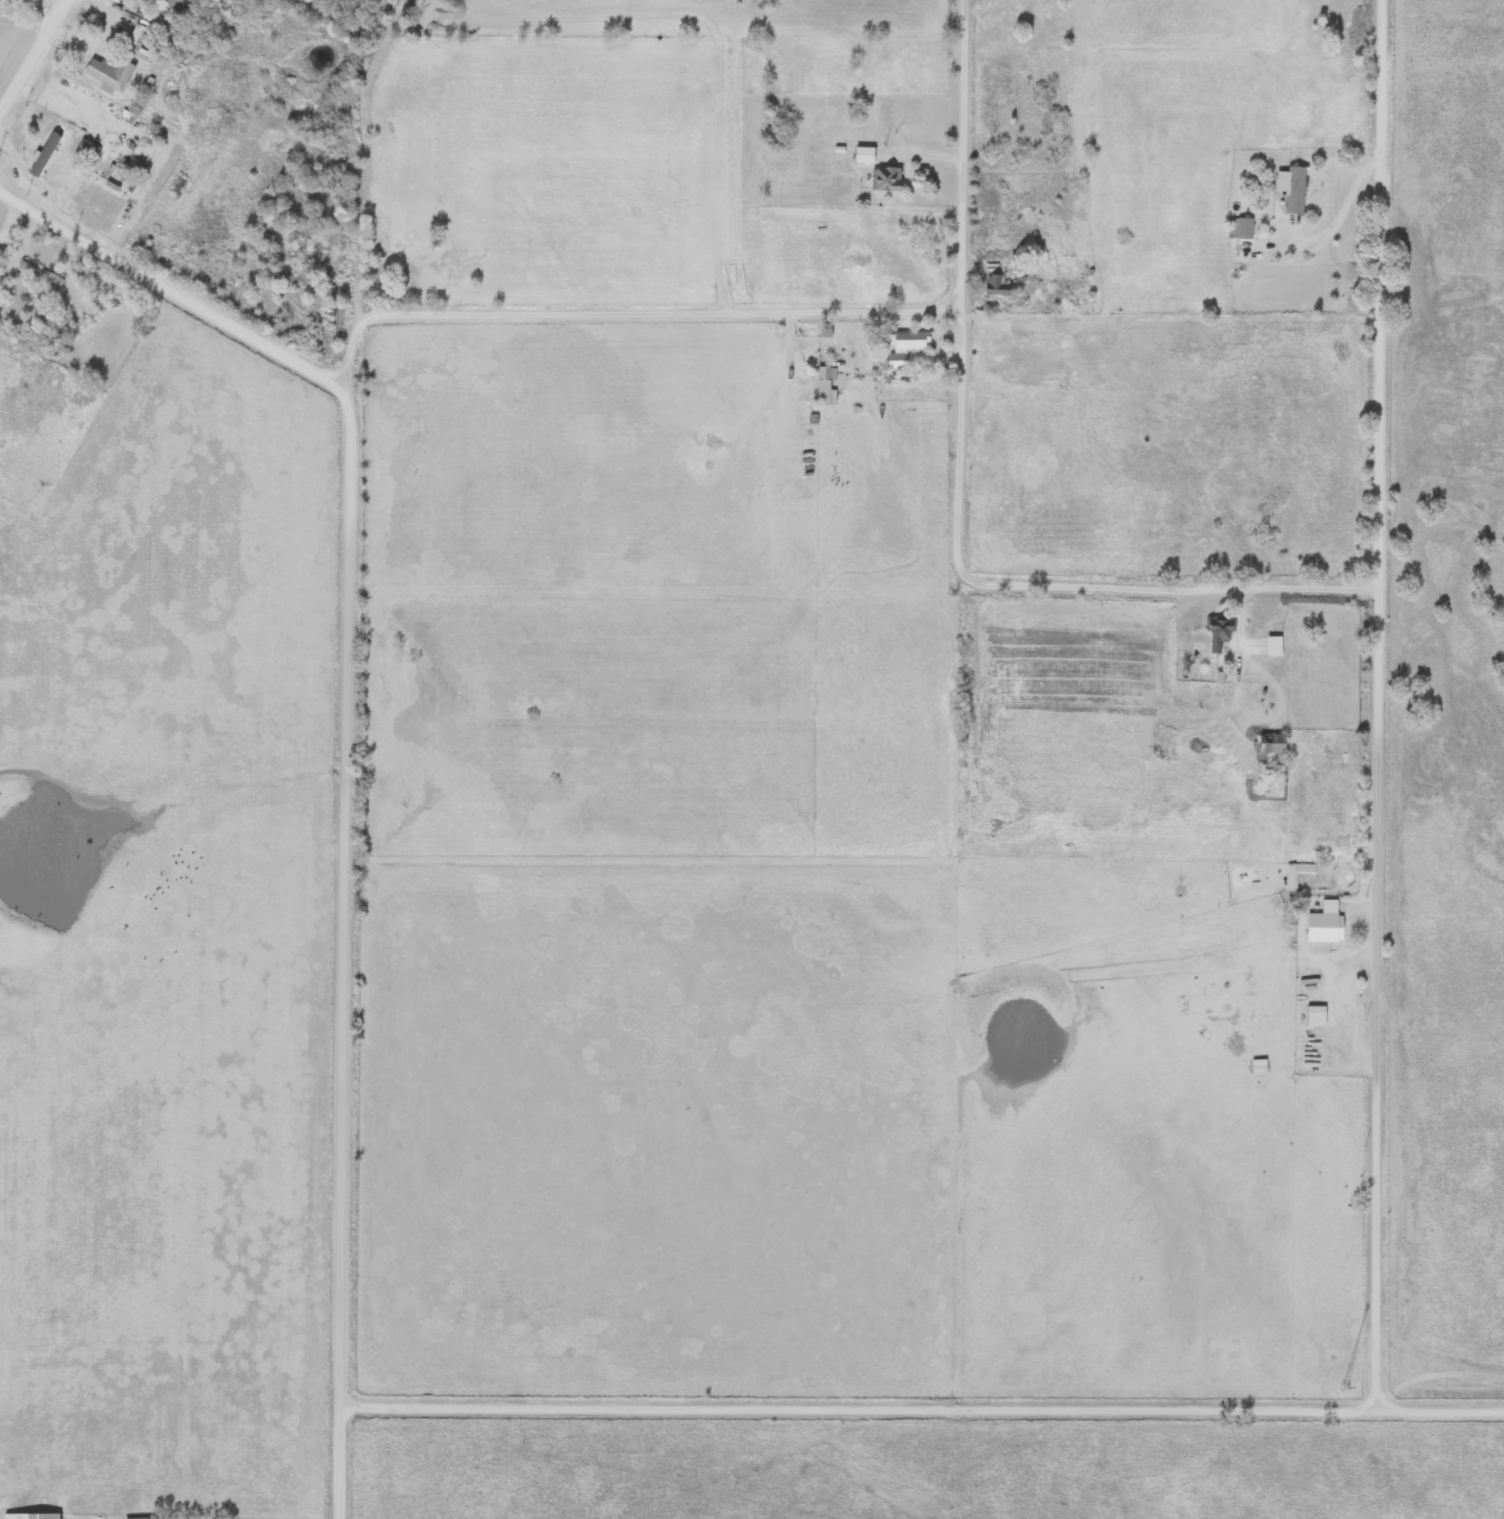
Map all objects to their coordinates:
building: (167, 2)
building: (135, 38)
road: (30, 50)
building: (109, 72)
building: (85, 151)
building: (862, 156)
building: (43, 163)
building: (884, 179)
building: (1290, 189)
building: (1242, 228)
building: (264, 239)
road: (956, 239)
building: (299, 252)
building: (38, 276)
building: (996, 285)
road: (172, 290)
road: (656, 313)
building: (902, 347)
building: (824, 385)
road: (1126, 587)
building: (1217, 632)
building: (1272, 646)
road: (1382, 703)
building: (1270, 743)
building: (1294, 872)
road: (344, 919)
building: (1323, 923)
building: (1313, 1016)
building: (1257, 1067)
road: (922, 1407)
building: (30, 1516)

